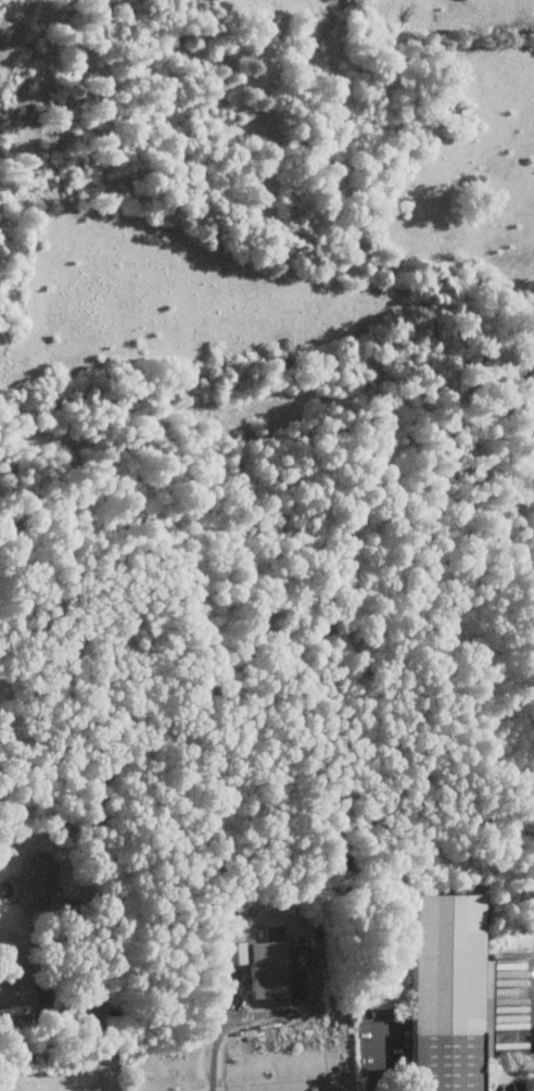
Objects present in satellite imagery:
building: (39, 886)
building: (234, 953)
building: (269, 970)
road: (102, 992)
building: (446, 992)
building: (16, 995)
road: (80, 1008)
water tower: (479, 1044)
road: (218, 1049)
road: (371, 1086)

